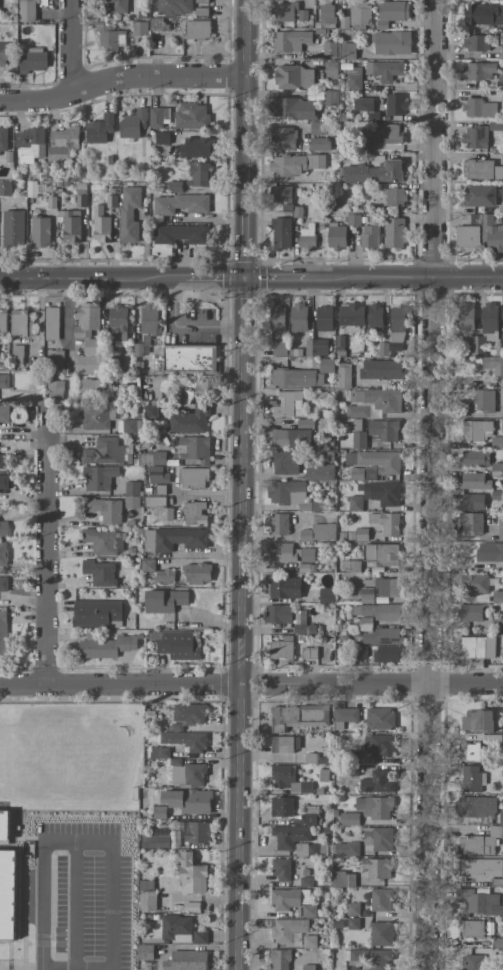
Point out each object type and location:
building: (121, 6)
building: (174, 7)
building: (201, 7)
building: (29, 9)
building: (289, 12)
building: (391, 12)
building: (327, 13)
building: (484, 13)
building: (360, 14)
building: (344, 22)
building: (140, 28)
building: (197, 30)
building: (111, 38)
building: (291, 40)
building: (476, 42)
road: (73, 43)
building: (392, 43)
building: (502, 45)
building: (330, 49)
building: (348, 51)
building: (3, 53)
building: (33, 60)
building: (331, 70)
building: (387, 70)
building: (478, 71)
road: (119, 76)
building: (294, 77)
building: (354, 77)
building: (500, 82)
building: (331, 98)
building: (363, 104)
building: (396, 104)
building: (293, 108)
building: (479, 108)
building: (158, 116)
building: (192, 116)
building: (133, 123)
building: (99, 128)
building: (316, 128)
building: (390, 133)
building: (475, 137)
building: (284, 138)
road: (431, 138)
building: (3, 140)
building: (319, 144)
building: (30, 145)
building: (63, 145)
building: (197, 147)
building: (295, 164)
building: (483, 169)
building: (375, 173)
building: (200, 174)
building: (175, 186)
building: (5, 188)
building: (31, 188)
building: (281, 194)
building: (479, 195)
building: (396, 197)
building: (179, 204)
building: (129, 213)
building: (352, 220)
building: (101, 225)
building: (71, 226)
building: (13, 228)
building: (40, 231)
building: (394, 232)
building: (281, 233)
building: (491, 233)
building: (181, 234)
building: (370, 234)
building: (336, 236)
building: (467, 237)
building: (306, 238)
road: (92, 277)
road: (214, 277)
traffic signals: (243, 277)
road: (275, 277)
road: (369, 277)
road: (466, 277)
building: (351, 314)
building: (375, 316)
building: (466, 316)
building: (299, 317)
building: (277, 318)
building: (324, 318)
building: (86, 319)
building: (150, 319)
building: (119, 320)
building: (3, 321)
building: (21, 323)
building: (51, 323)
building: (398, 324)
road: (185, 327)
building: (486, 328)
road: (242, 342)
building: (316, 347)
building: (279, 348)
building: (91, 357)
building: (190, 359)
building: (493, 364)
building: (326, 365)
building: (383, 369)
building: (344, 375)
building: (296, 377)
building: (4, 380)
building: (203, 385)
building: (90, 387)
building: (55, 389)
building: (379, 399)
building: (484, 400)
building: (289, 404)
building: (150, 411)
building: (357, 411)
building: (4, 414)
building: (97, 416)
building: (190, 420)
building: (305, 423)
building: (129, 426)
building: (384, 430)
building: (477, 430)
building: (290, 438)
building: (359, 440)
building: (497, 442)
building: (194, 449)
building: (104, 451)
building: (159, 458)
building: (474, 458)
building: (147, 459)
building: (376, 460)
building: (3, 461)
building: (284, 462)
building: (497, 466)
building: (320, 472)
building: (363, 473)
building: (157, 475)
building: (99, 478)
building: (193, 478)
road: (428, 480)
building: (474, 481)
building: (4, 482)
building: (132, 487)
building: (287, 492)
building: (382, 493)
building: (132, 501)
building: (154, 501)
building: (355, 501)
building: (471, 502)
building: (106, 510)
building: (194, 513)
building: (166, 514)
building: (386, 522)
building: (279, 523)
building: (471, 523)
building: (3, 528)
building: (500, 529)
building: (319, 532)
building: (174, 539)
road: (41, 541)
building: (105, 541)
building: (489, 552)
building: (3, 553)
building: (284, 553)
building: (382, 553)
building: (100, 572)
building: (197, 573)
building: (164, 576)
building: (3, 583)
building: (474, 584)
building: (284, 587)
building: (387, 587)
building: (326, 595)
building: (366, 595)
building: (497, 596)
building: (164, 600)
building: (379, 611)
building: (470, 612)
building: (97, 613)
building: (278, 614)
building: (3, 632)
building: (380, 636)
building: (177, 644)
building: (107, 646)
building: (478, 647)
building: (281, 650)
building: (309, 652)
building: (387, 654)
road: (119, 684)
road: (371, 684)
building: (190, 714)
building: (346, 714)
building: (298, 716)
building: (380, 718)
building: (478, 720)
building: (186, 740)
building: (285, 744)
building: (378, 745)
building: (159, 752)
building: (468, 752)
building: (188, 774)
building: (289, 779)
building: (472, 779)
building: (377, 782)
building: (188, 800)
building: (477, 806)
building: (281, 807)
building: (374, 807)
building: (159, 812)
building: (310, 816)
building: (501, 817)
building: (349, 818)
building: (4, 825)
road: (239, 827)
road: (427, 827)
building: (195, 832)
building: (290, 836)
building: (378, 838)
building: (155, 839)
building: (480, 842)
building: (347, 848)
building: (304, 849)
road: (112, 850)
building: (377, 868)
building: (481, 868)
building: (282, 870)
building: (192, 875)
building: (343, 879)
building: (306, 881)
building: (7, 894)
building: (147, 895)
building: (288, 899)
building: (381, 899)
building: (479, 902)
building: (353, 909)
building: (353, 923)
building: (175, 926)
building: (287, 929)
building: (471, 929)
building: (381, 934)
building: (199, 936)
building: (309, 941)
building: (145, 952)
road: (40, 958)
building: (354, 958)
building: (279, 959)
building: (380, 959)
building: (186, 960)
building: (472, 962)

